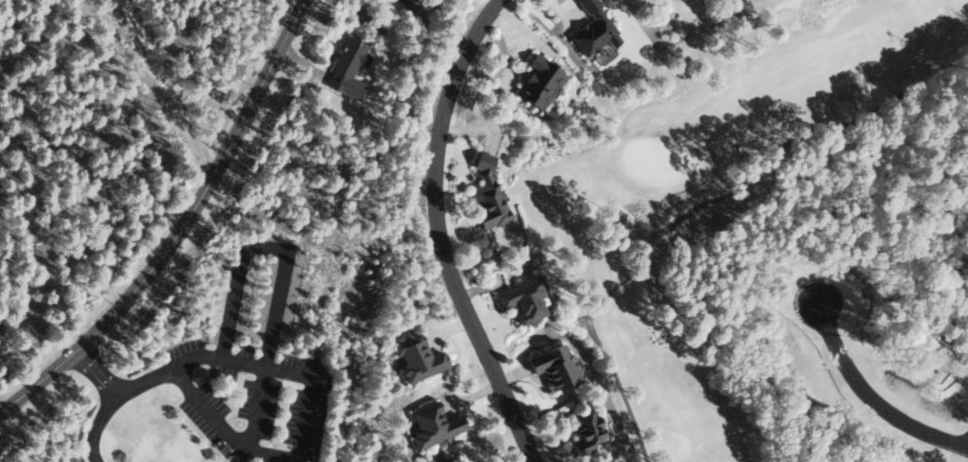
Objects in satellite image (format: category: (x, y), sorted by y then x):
building: (593, 29)
building: (346, 67)
building: (538, 80)
building: (486, 195)
road: (692, 208)
road: (181, 225)
road: (440, 232)
park: (768, 235)
road: (6, 261)
road: (275, 272)
building: (522, 298)
building: (416, 357)
road: (250, 363)
building: (551, 365)
road: (871, 395)
road: (111, 400)
building: (431, 424)
road: (217, 428)
building: (584, 431)
road: (239, 454)
building: (450, 459)

